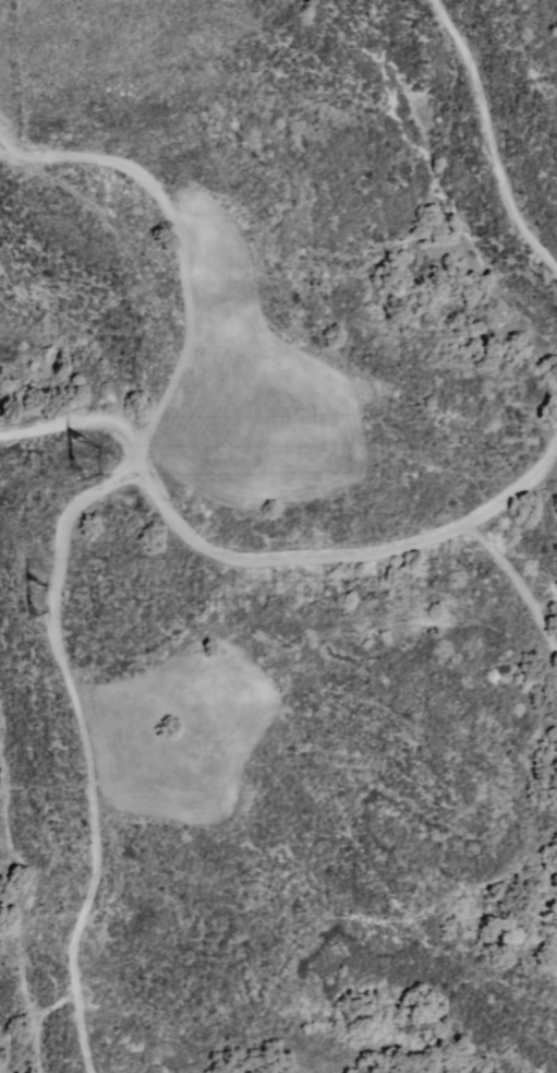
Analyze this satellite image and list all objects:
road: (161, 246)
power tower: (76, 451)
road: (266, 552)
power tower: (20, 586)

